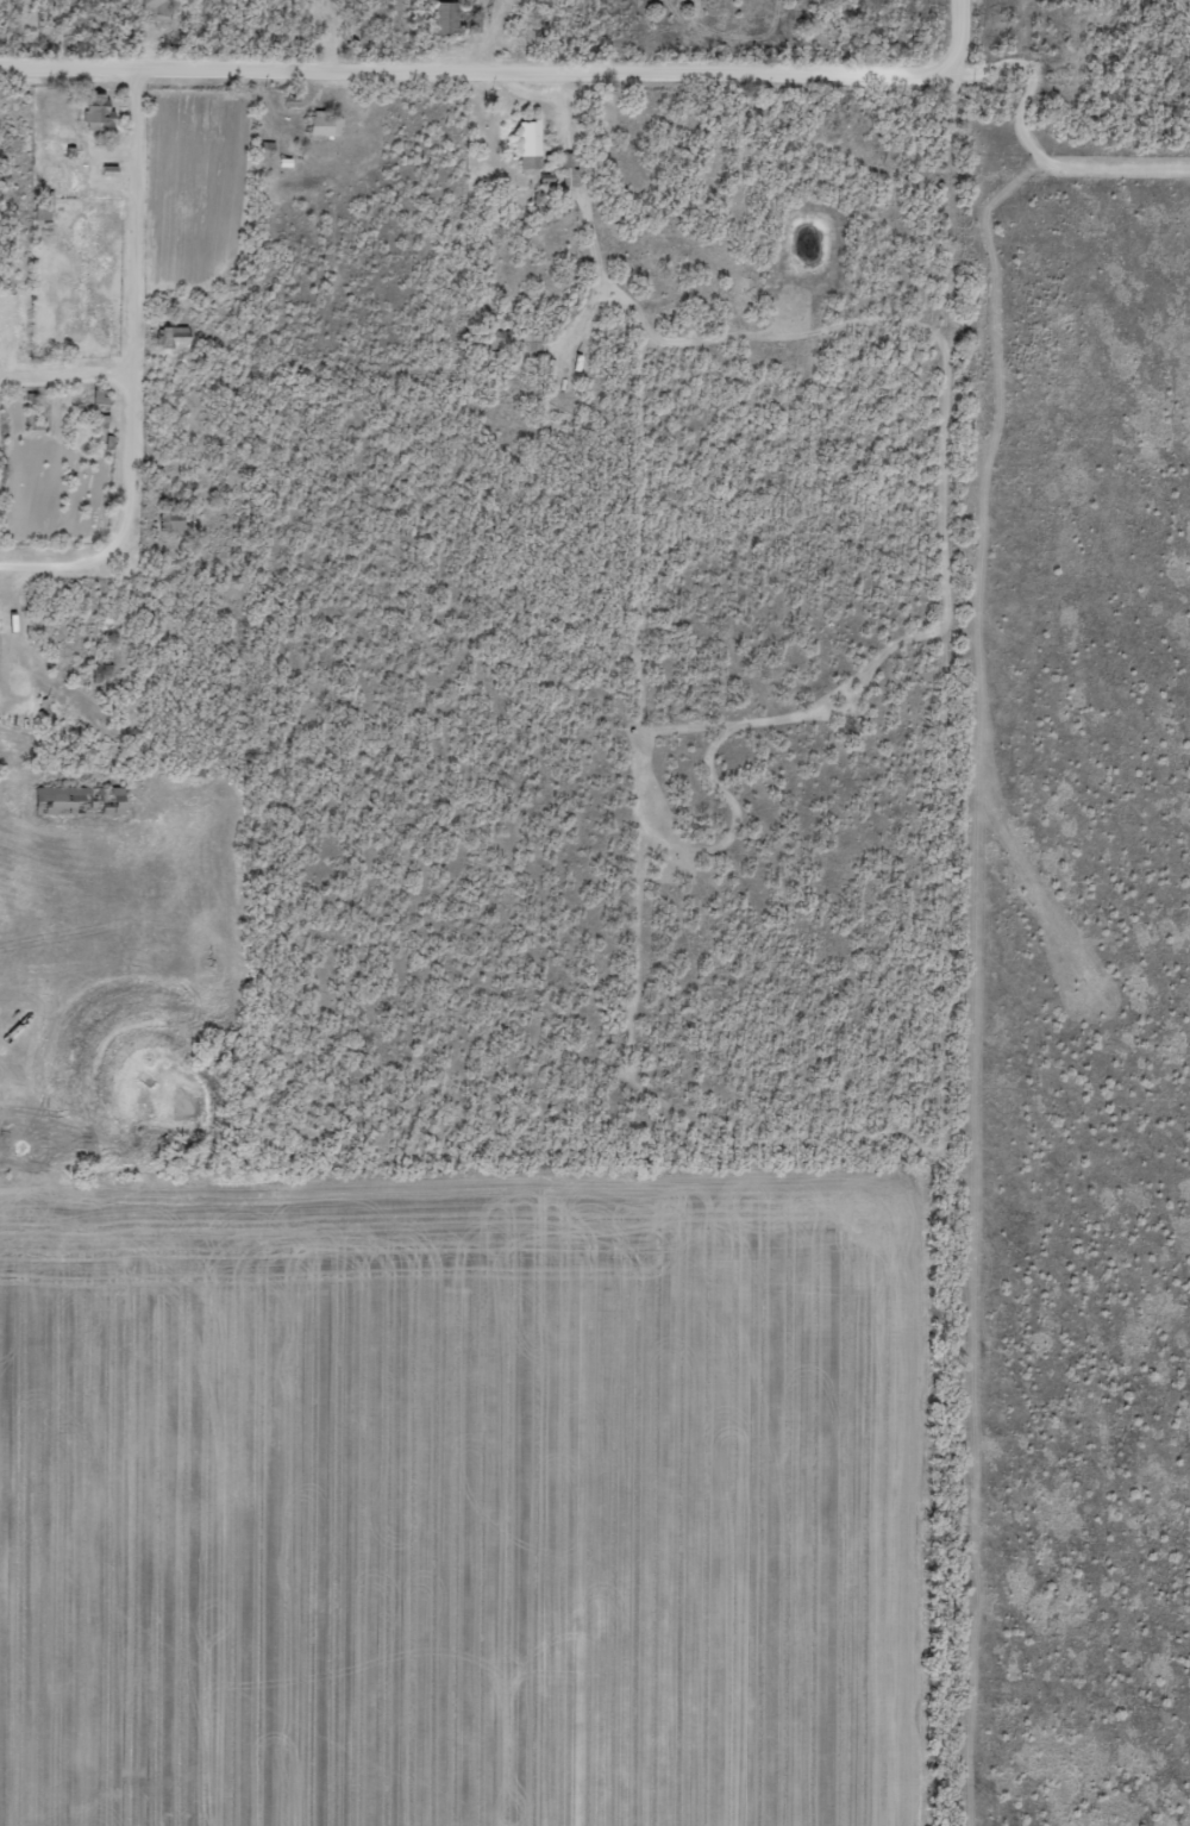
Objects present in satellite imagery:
building: (150, 10)
building: (437, 17)
road: (516, 104)
building: (89, 112)
building: (317, 124)
building: (521, 144)
building: (36, 205)
building: (168, 337)
road: (87, 389)
road: (174, 399)
building: (165, 520)
road: (15, 594)
building: (71, 800)

